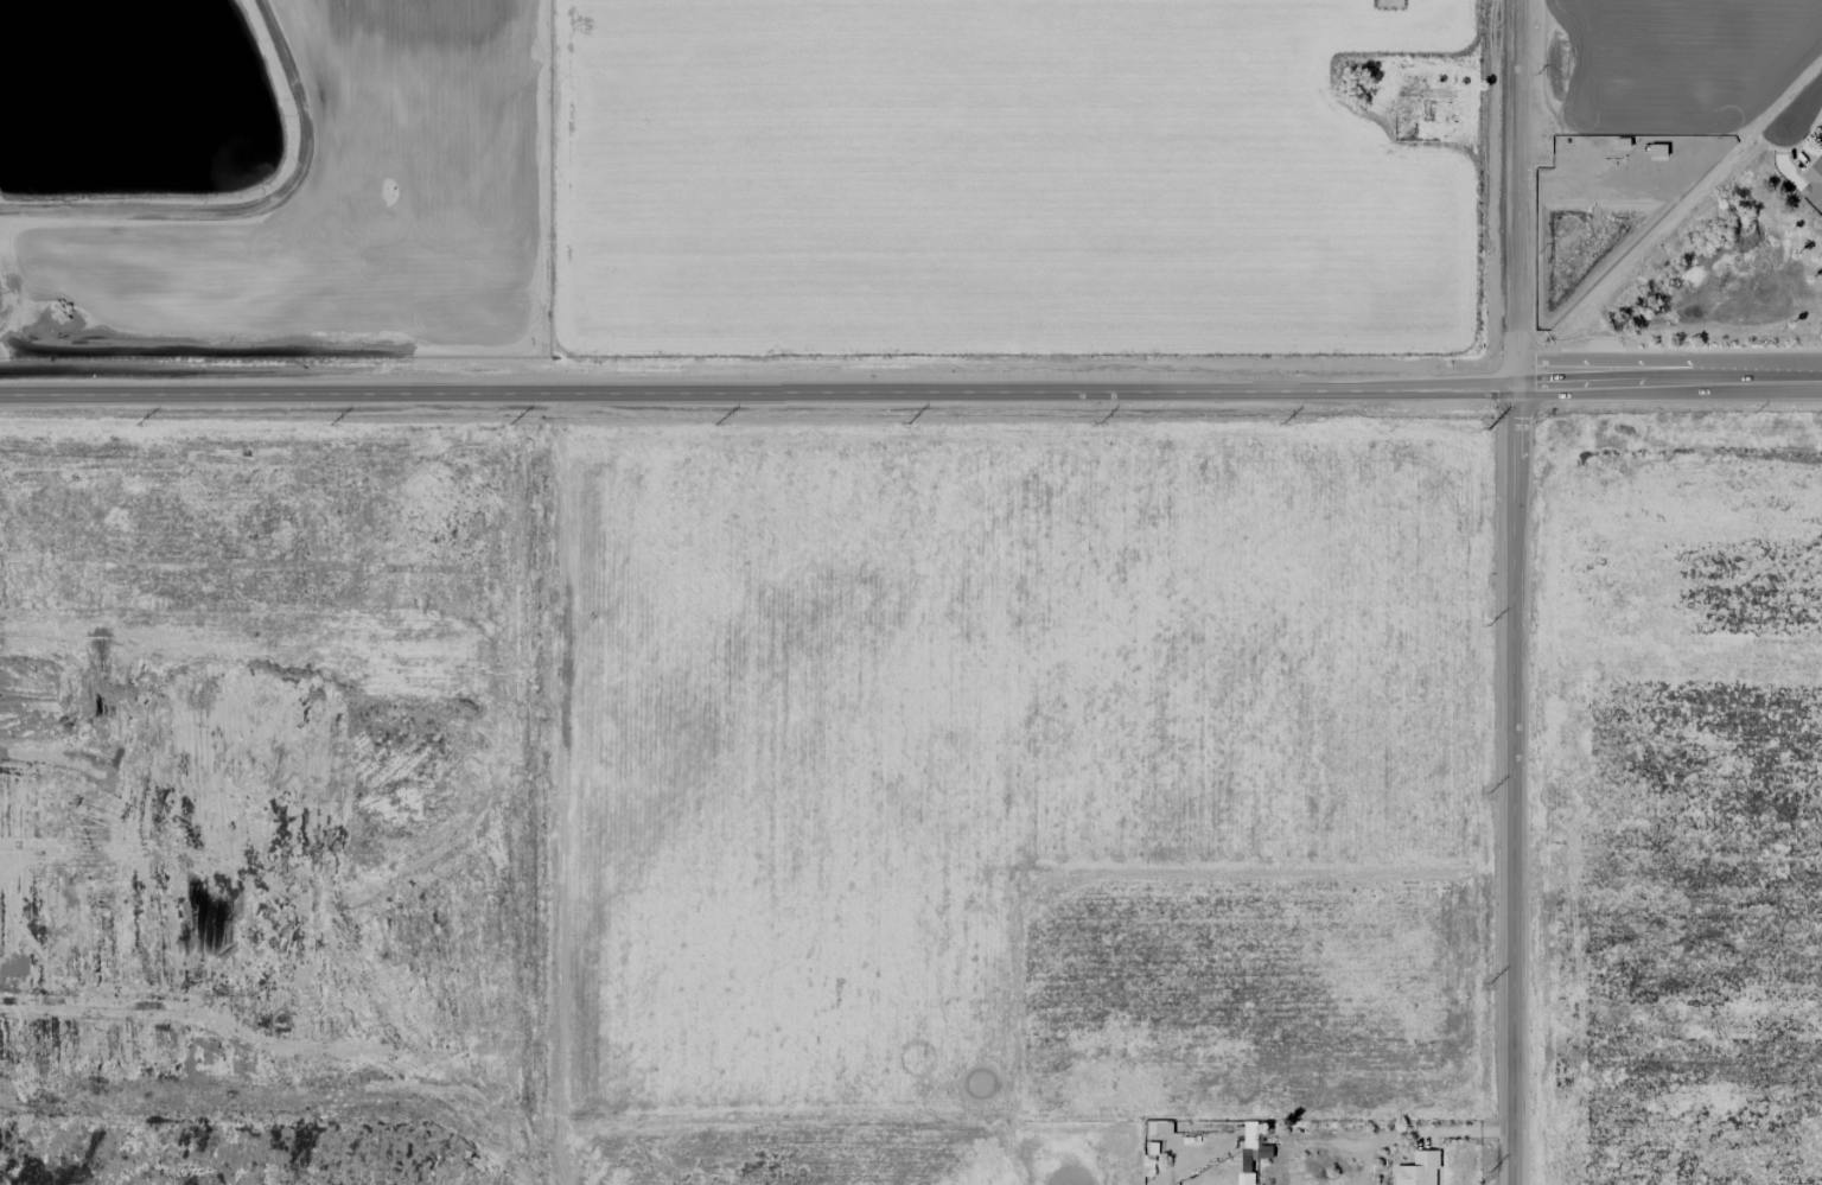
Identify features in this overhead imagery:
road: (1804, 104)
building: (1821, 151)
road: (1588, 171)
building: (1813, 184)
road: (910, 391)
road: (1514, 592)
road: (561, 790)
building: (1418, 1170)

